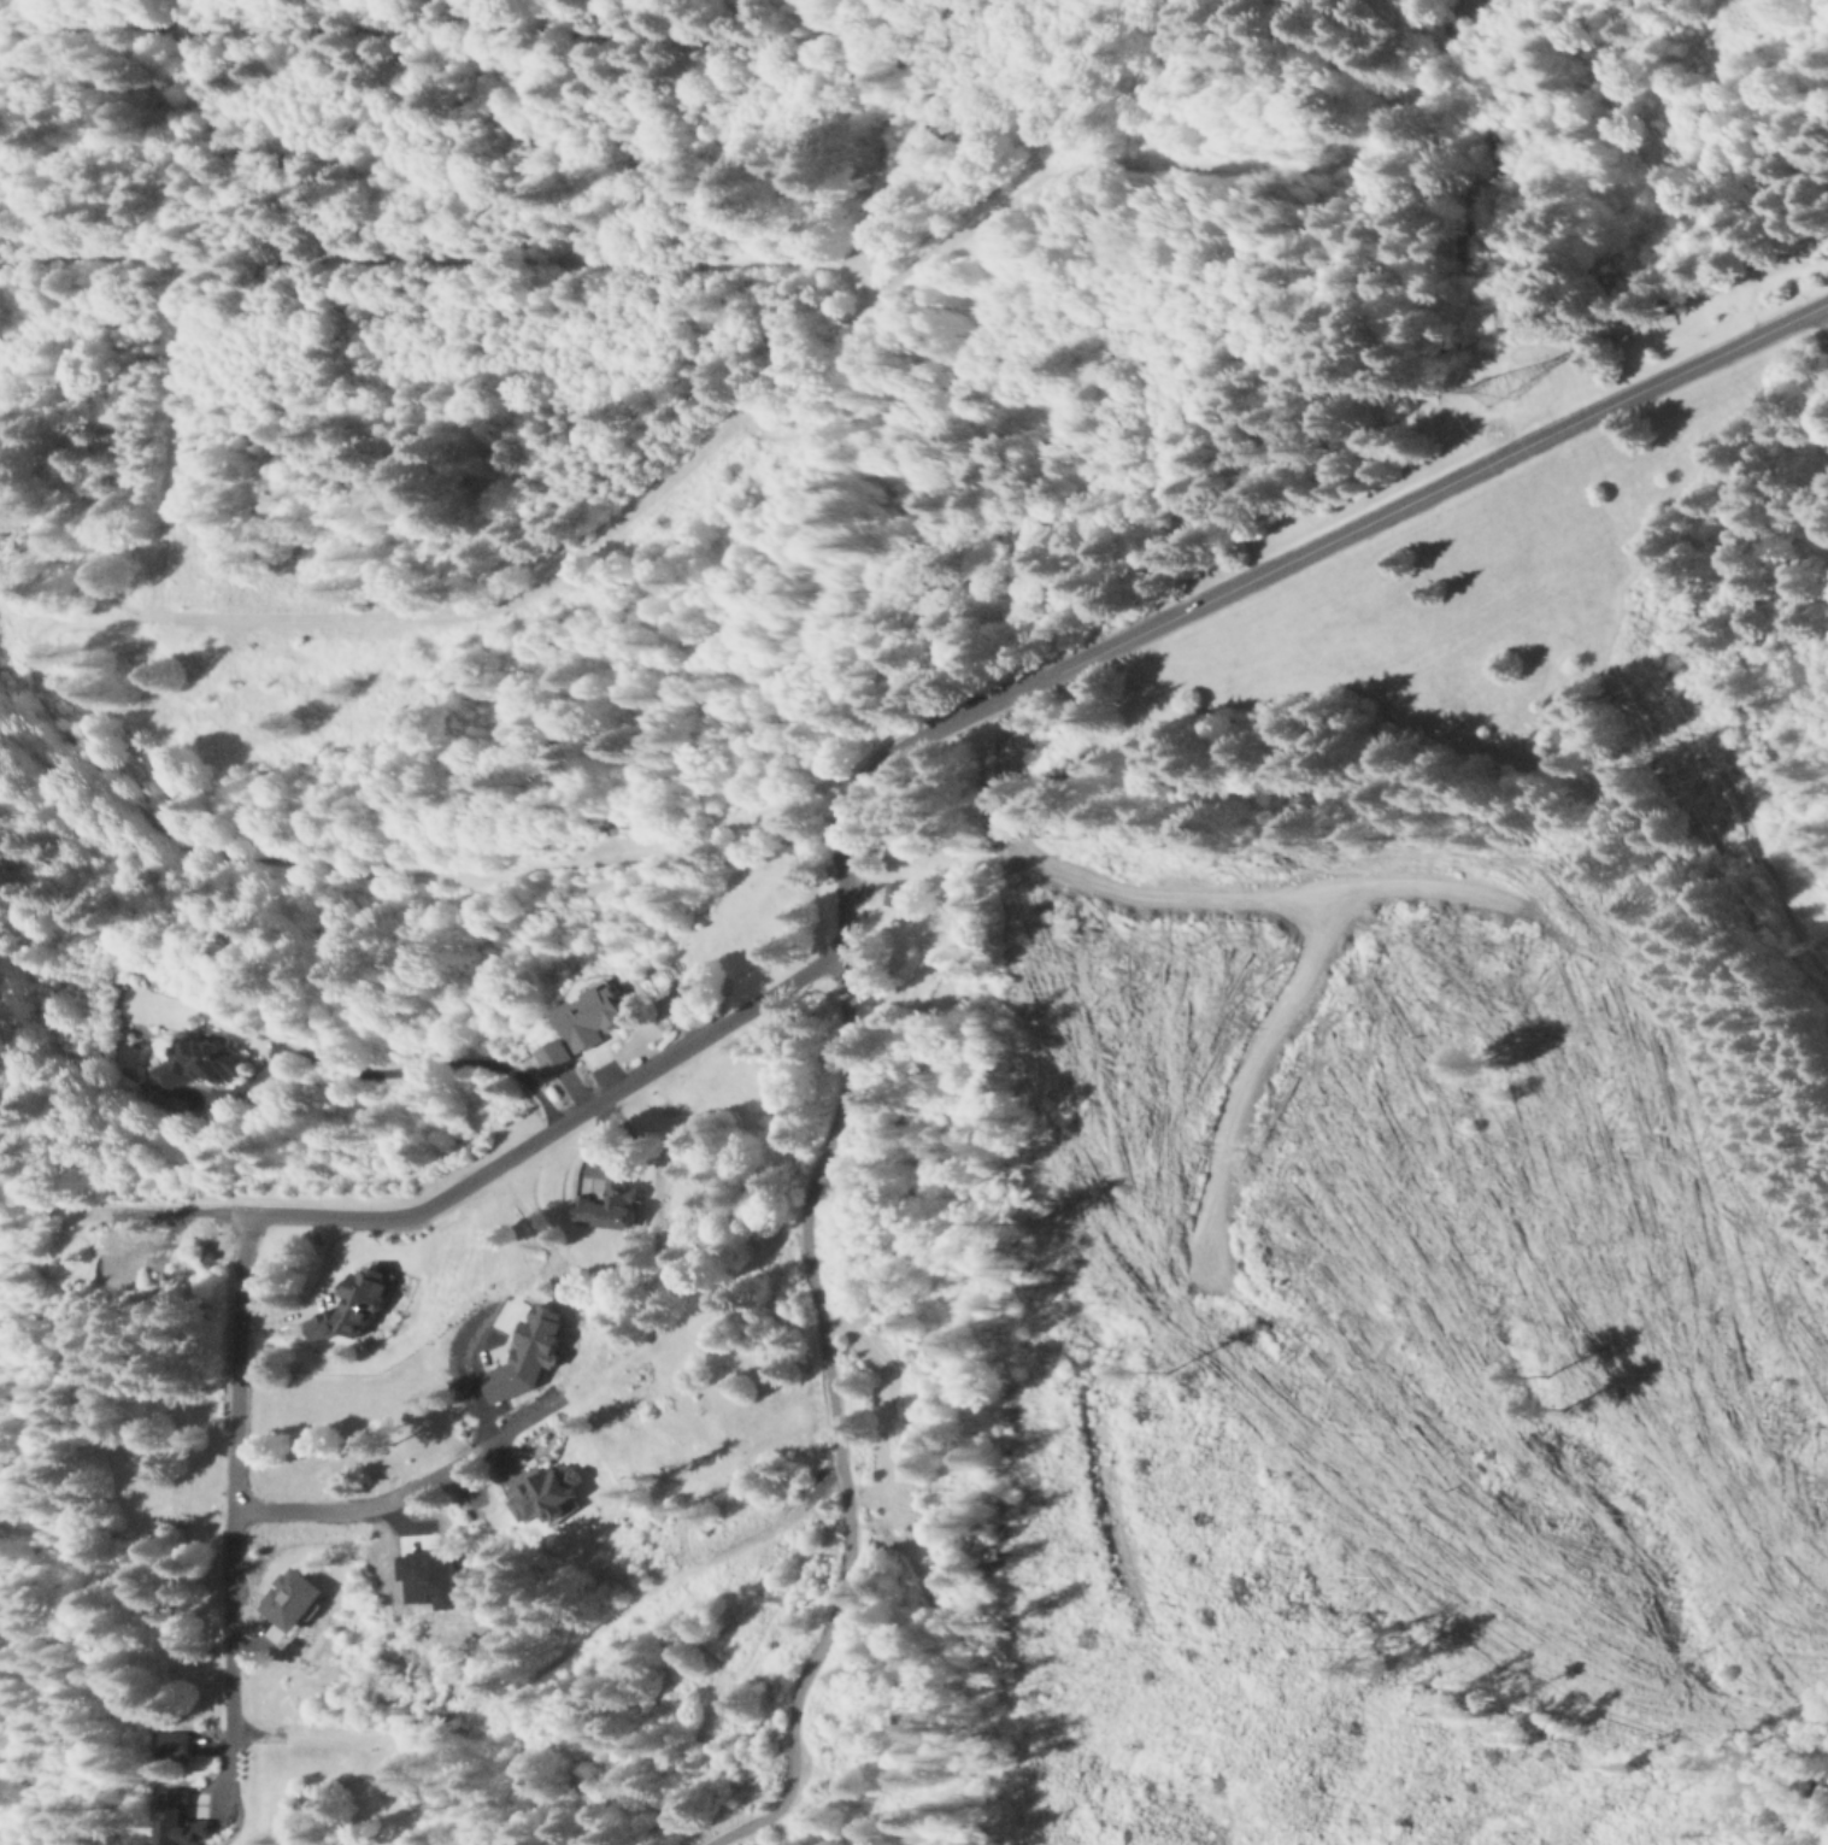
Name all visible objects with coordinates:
road: (437, 265)
road: (830, 331)
power tower: (1482, 389)
road: (1447, 483)
road: (294, 862)
power tower: (1797, 950)
building: (587, 1029)
building: (205, 1068)
road: (384, 1076)
road: (483, 1174)
building: (610, 1210)
road: (811, 1217)
road: (412, 1492)
road: (237, 1498)
building: (548, 1500)
building: (183, 1823)

